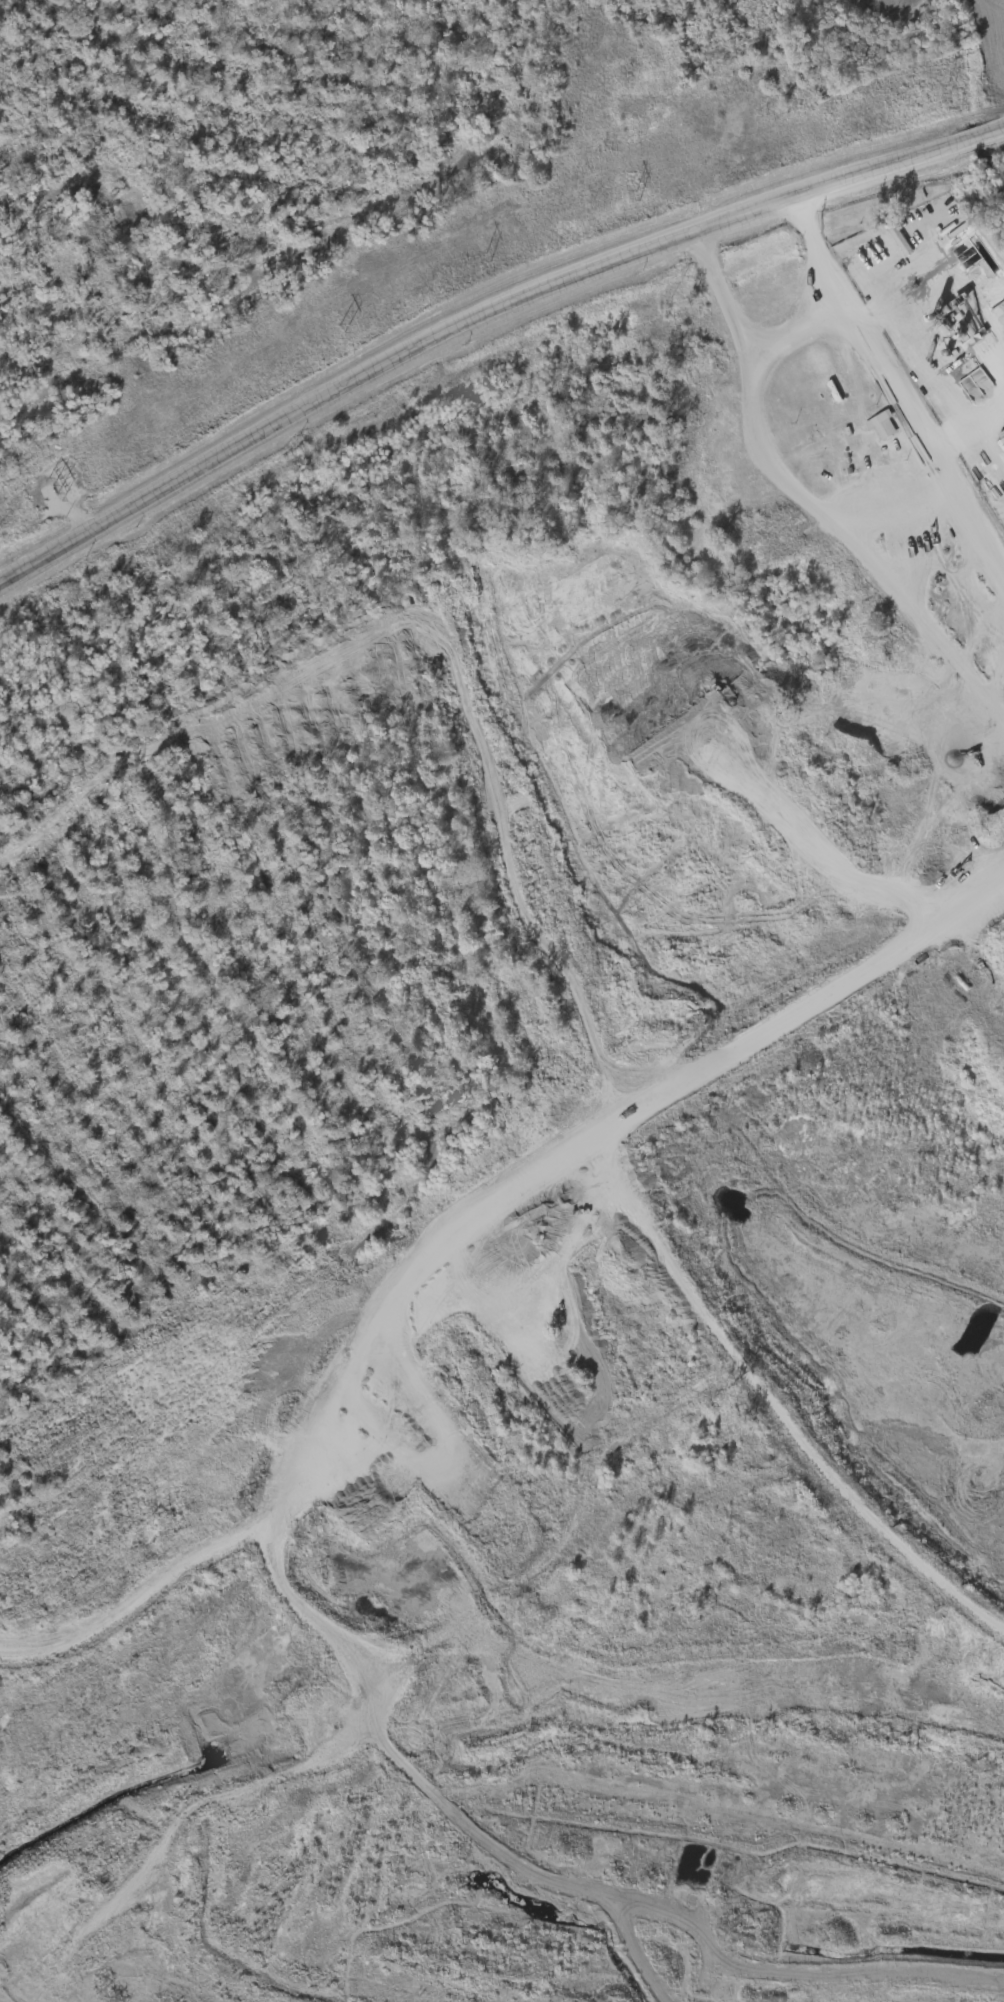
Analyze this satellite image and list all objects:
power tower: (948, 86)
crop: (344, 151)
power tower: (639, 190)
building: (902, 239)
power tower: (490, 253)
road: (724, 294)
road: (483, 318)
power tower: (344, 326)
road: (799, 329)
building: (828, 378)
road: (909, 415)
building: (883, 425)
power tower: (54, 490)
road: (850, 545)

